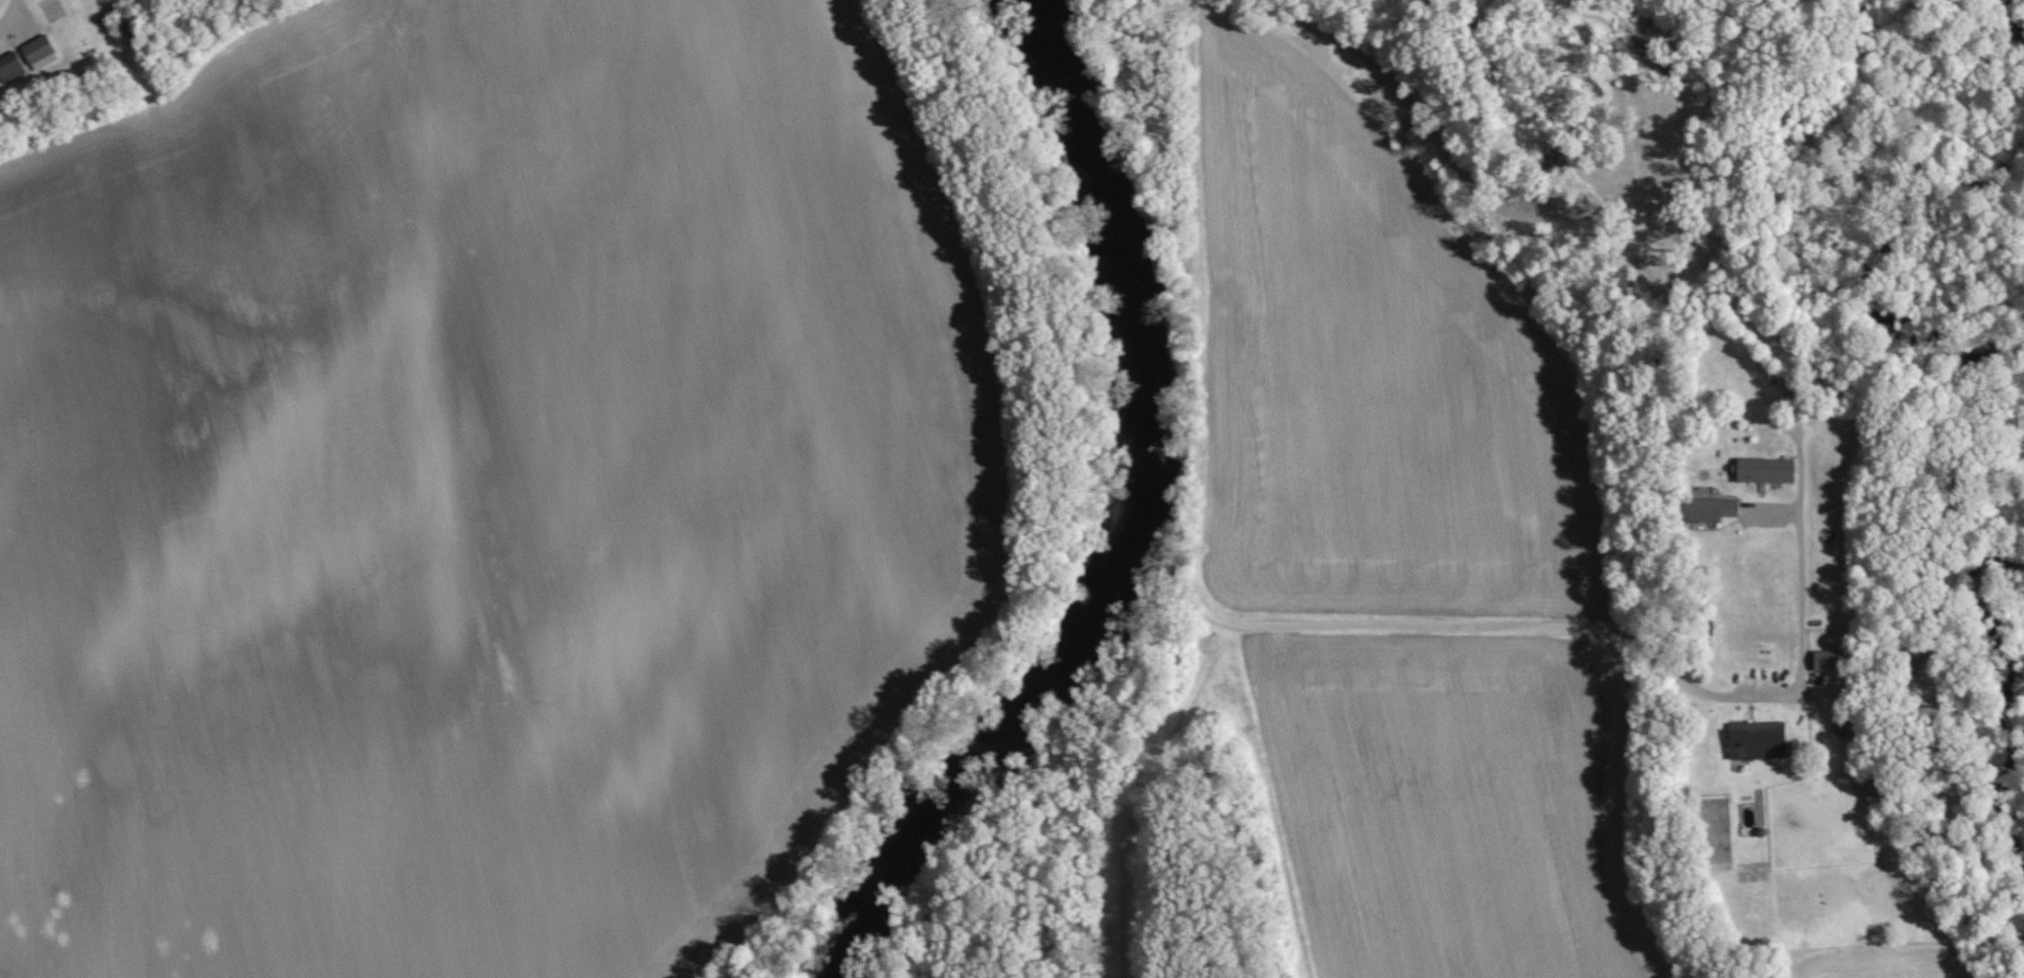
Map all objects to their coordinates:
road: (5, 11)
building: (36, 48)
building: (9, 66)
road: (1201, 327)
building: (1763, 470)
building: (1708, 509)
river: (1139, 514)
road: (1801, 564)
road: (1552, 627)
building: (1827, 660)
building: (1758, 740)
building: (1867, 790)

